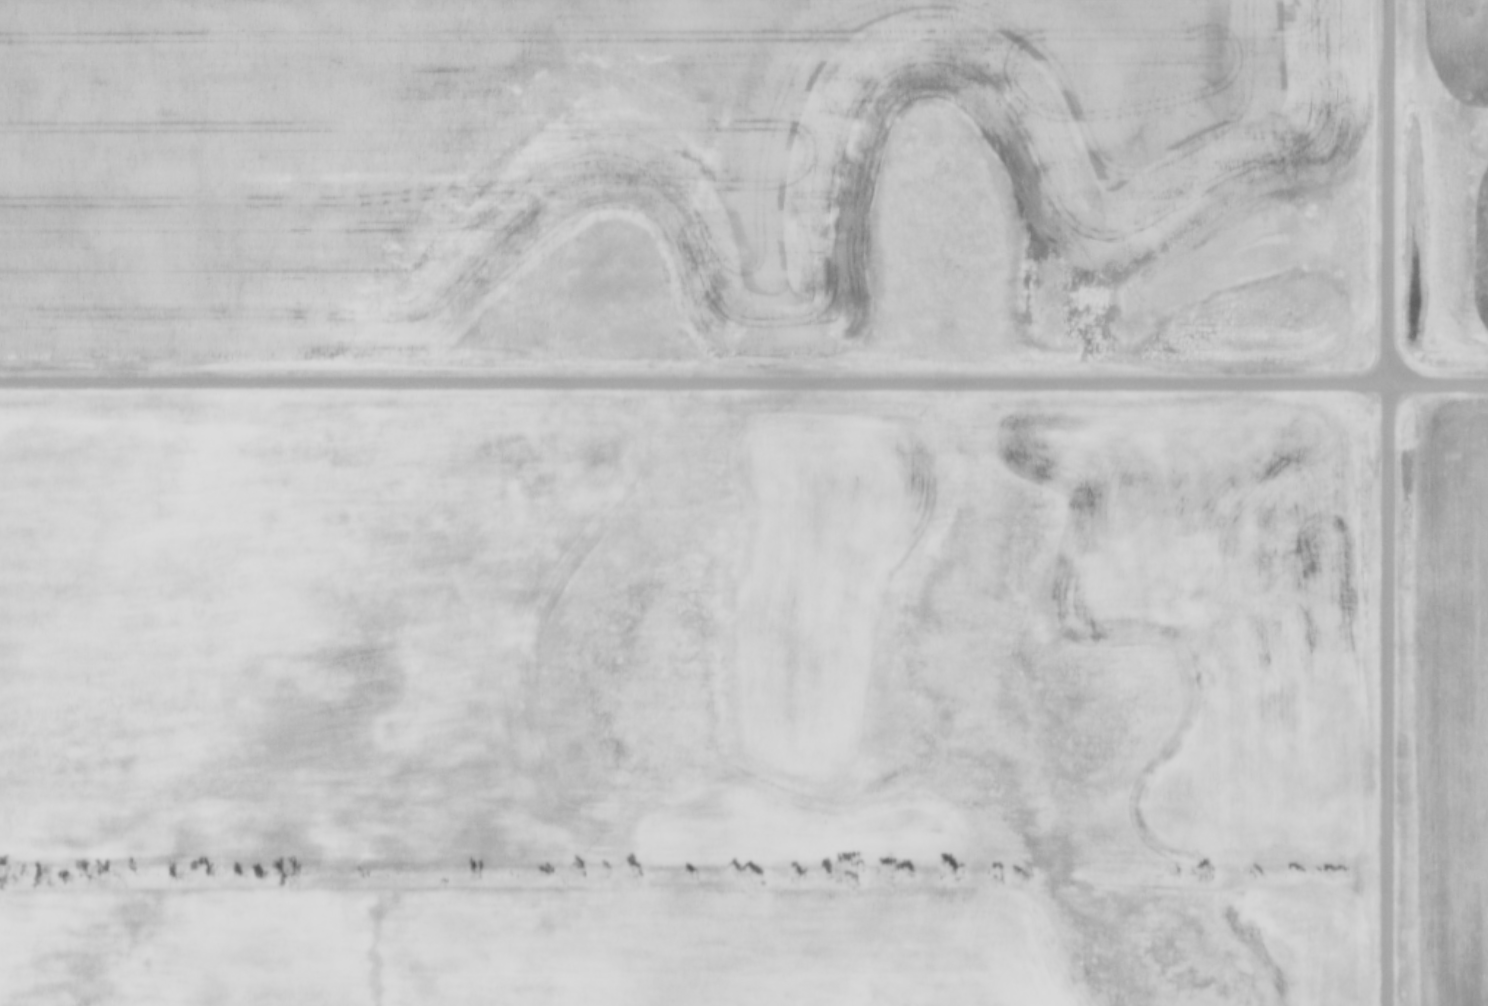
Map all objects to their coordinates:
road: (743, 380)
road: (1388, 502)

